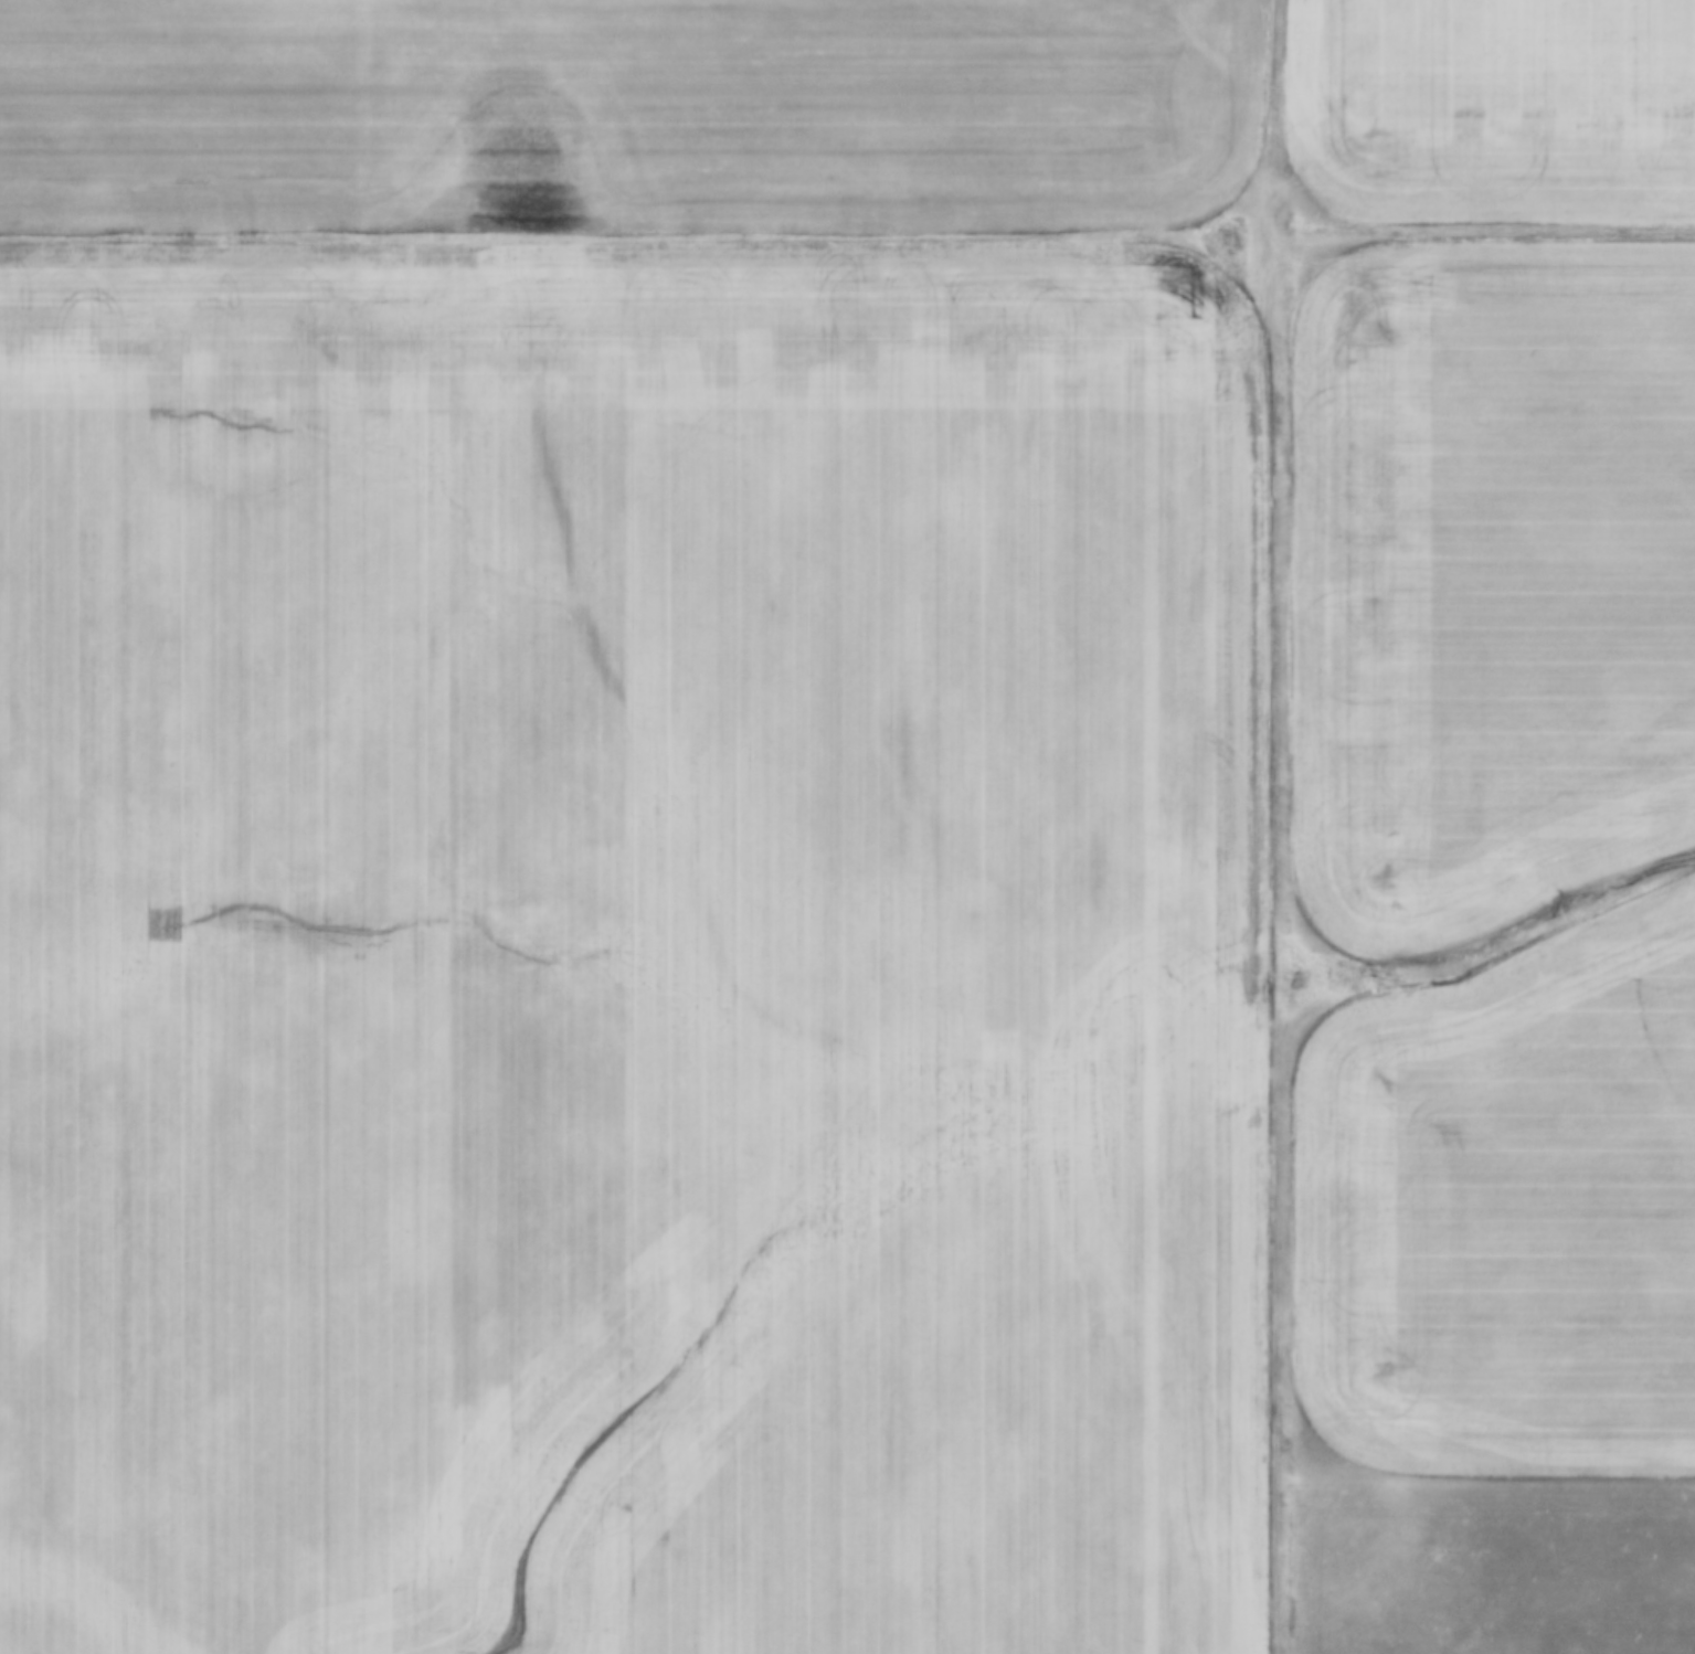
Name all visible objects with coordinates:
road: (1271, 826)

